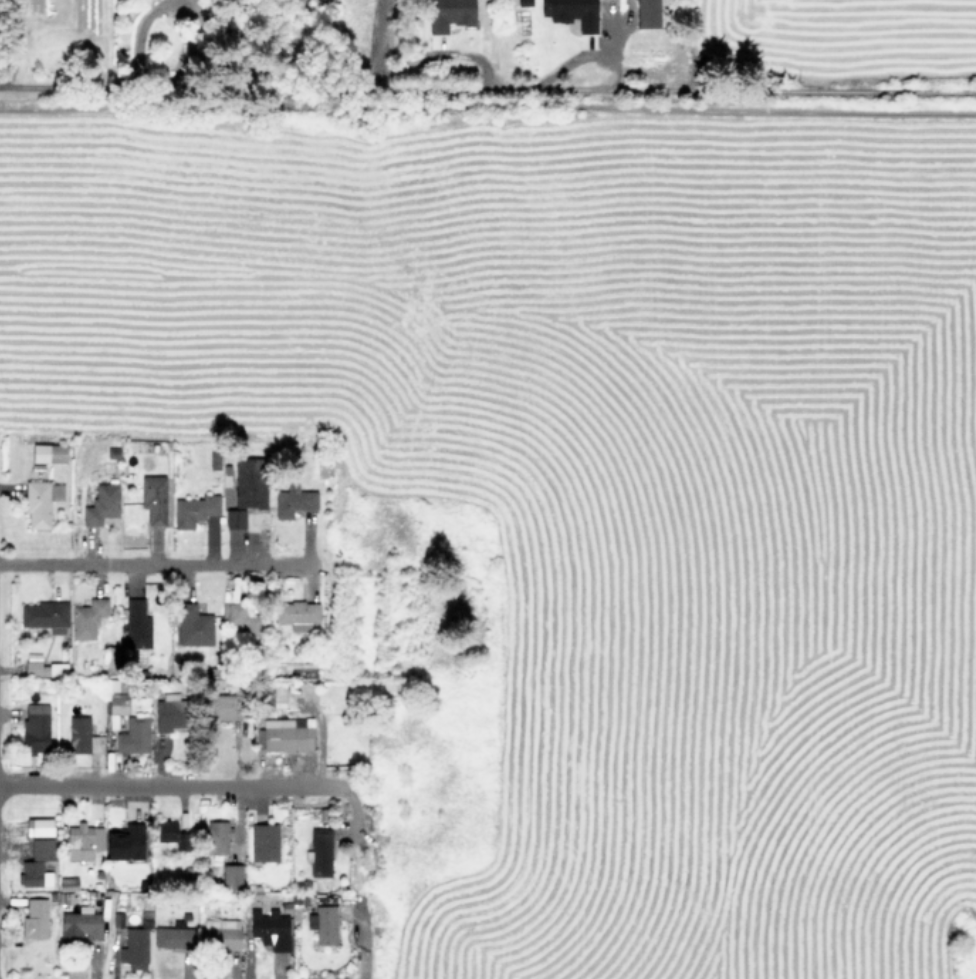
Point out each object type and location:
building: (524, 2)
building: (571, 12)
building: (448, 14)
road: (136, 39)
road: (17, 44)
road: (379, 44)
road: (442, 53)
road: (487, 88)
road: (488, 104)
crop: (574, 410)
building: (48, 453)
building: (250, 482)
building: (154, 498)
building: (293, 500)
building: (41, 502)
building: (102, 504)
building: (194, 510)
building: (235, 518)
road: (155, 564)
building: (296, 611)
building: (45, 615)
building: (87, 618)
building: (243, 621)
building: (137, 624)
building: (193, 625)
building: (110, 655)
building: (42, 666)
building: (235, 689)
building: (278, 695)
building: (115, 696)
building: (220, 705)
building: (171, 714)
building: (34, 727)
building: (284, 734)
building: (80, 735)
building: (133, 735)
road: (362, 755)
road: (171, 785)
road: (353, 813)
building: (41, 827)
building: (171, 833)
building: (218, 836)
building: (83, 841)
building: (125, 842)
building: (264, 842)
building: (320, 851)
building: (36, 862)
building: (231, 875)
building: (68, 883)
building: (296, 897)
building: (35, 918)
building: (323, 924)
building: (80, 926)
building: (270, 928)
building: (220, 933)
building: (173, 937)
road: (362, 939)
building: (134, 948)

